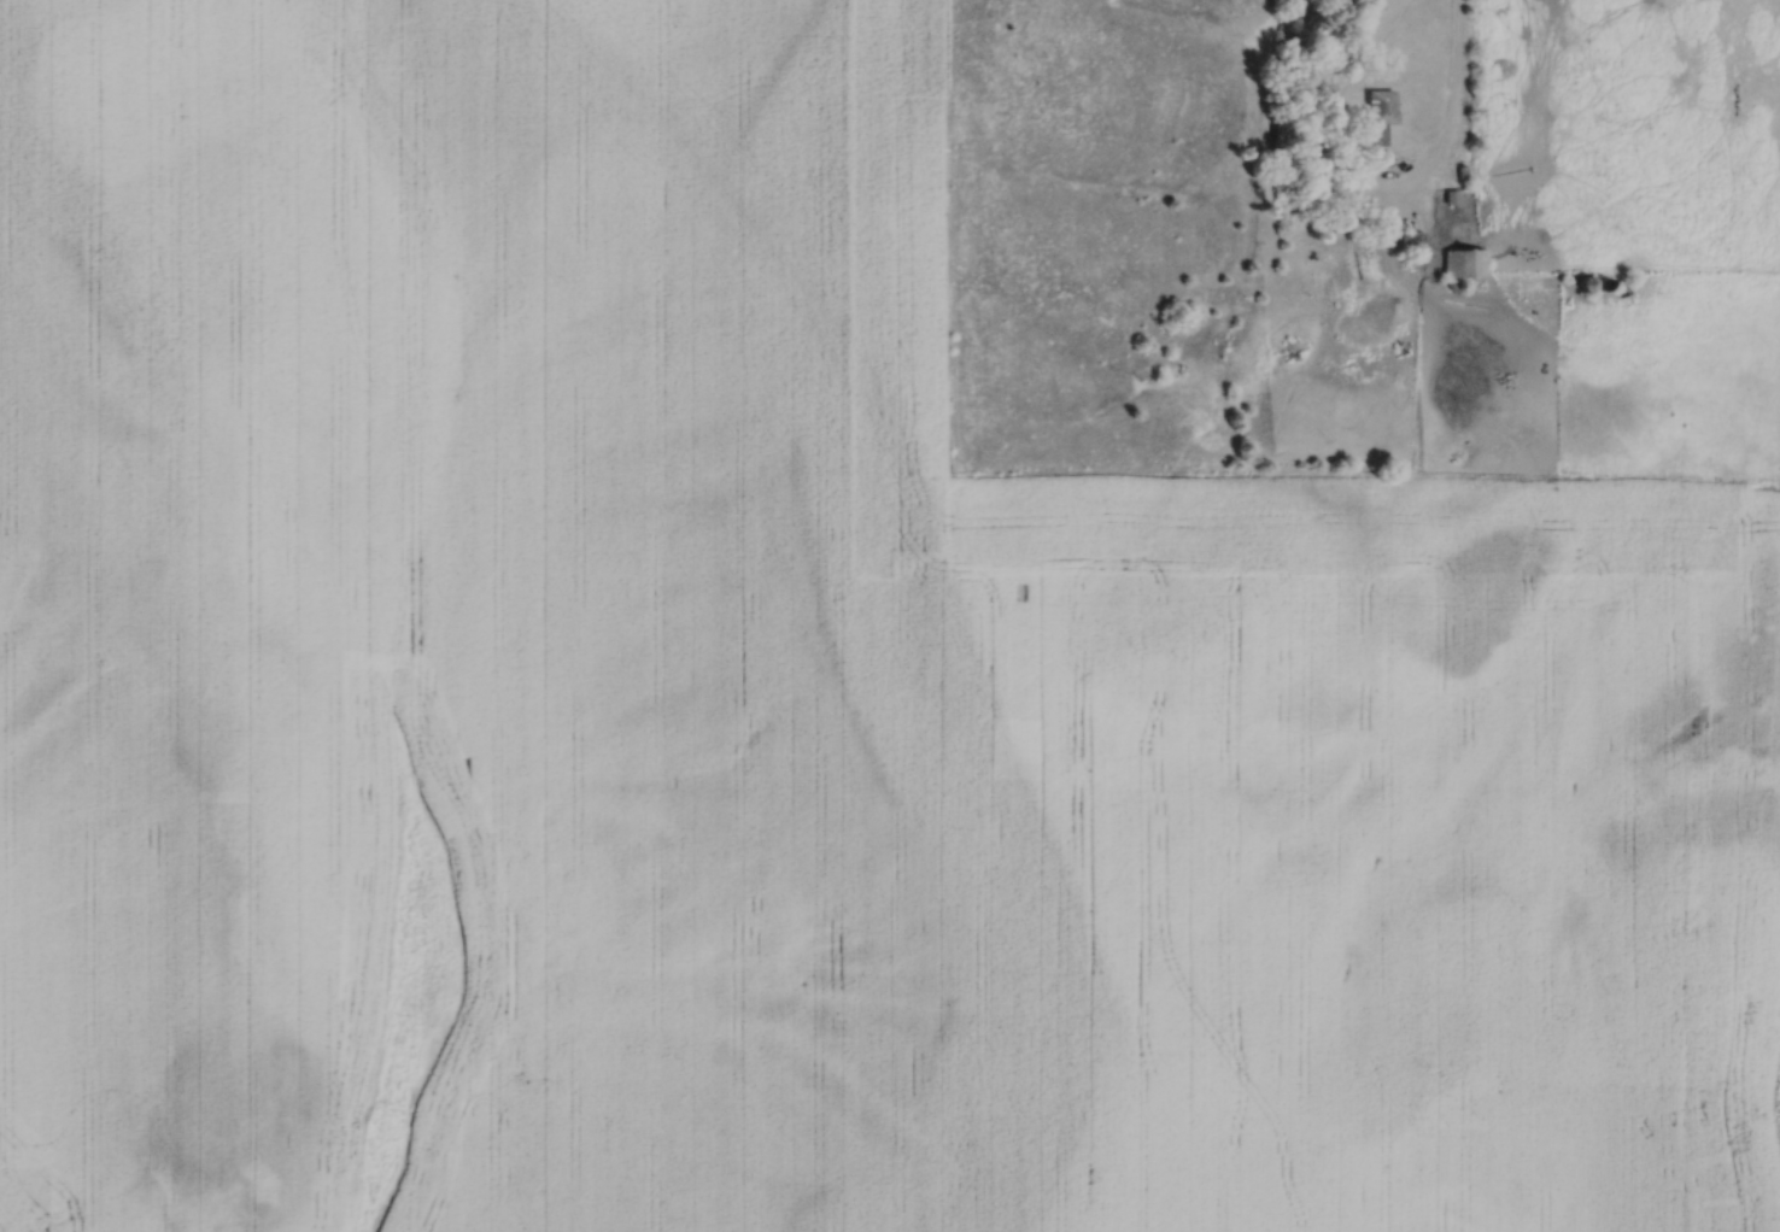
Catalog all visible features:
road: (1454, 92)
building: (1387, 115)
building: (1416, 247)
building: (1469, 262)

